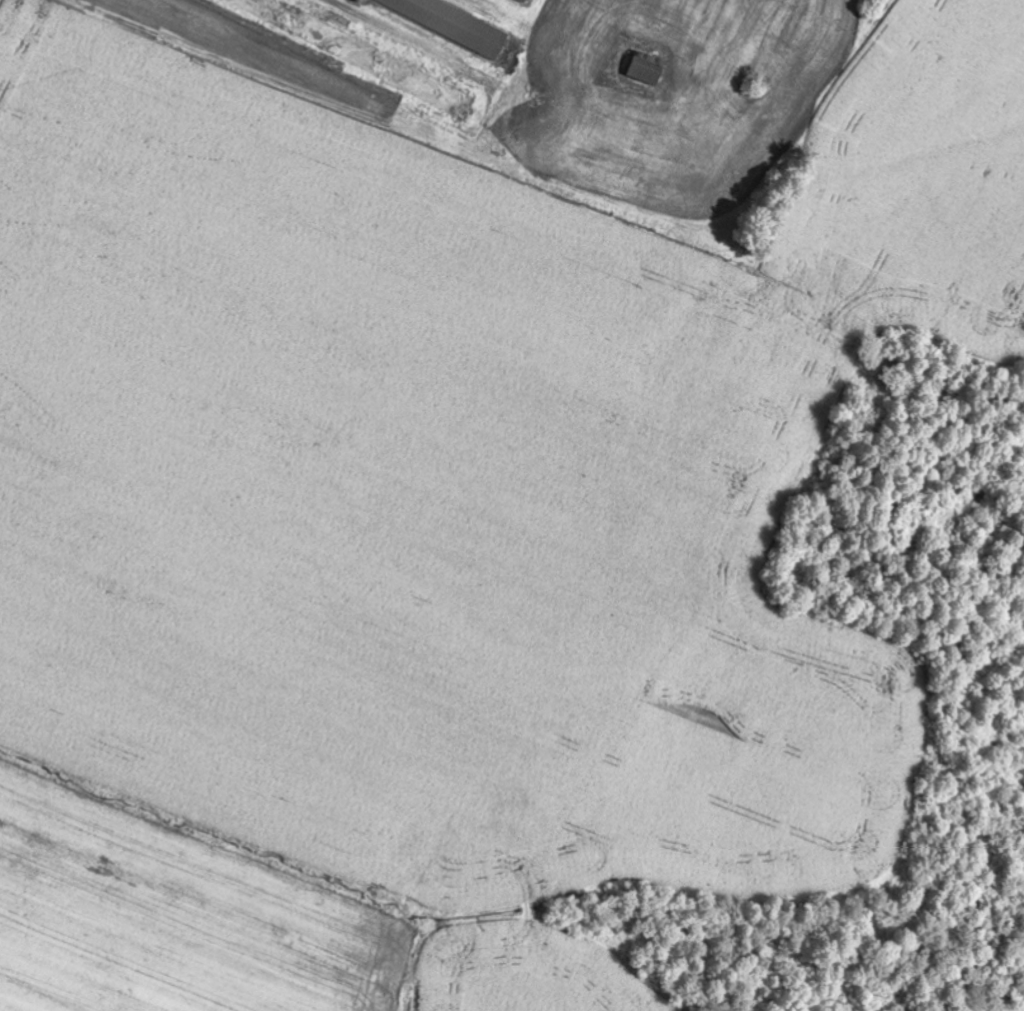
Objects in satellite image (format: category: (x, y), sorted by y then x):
building: (460, 20)
building: (647, 69)

